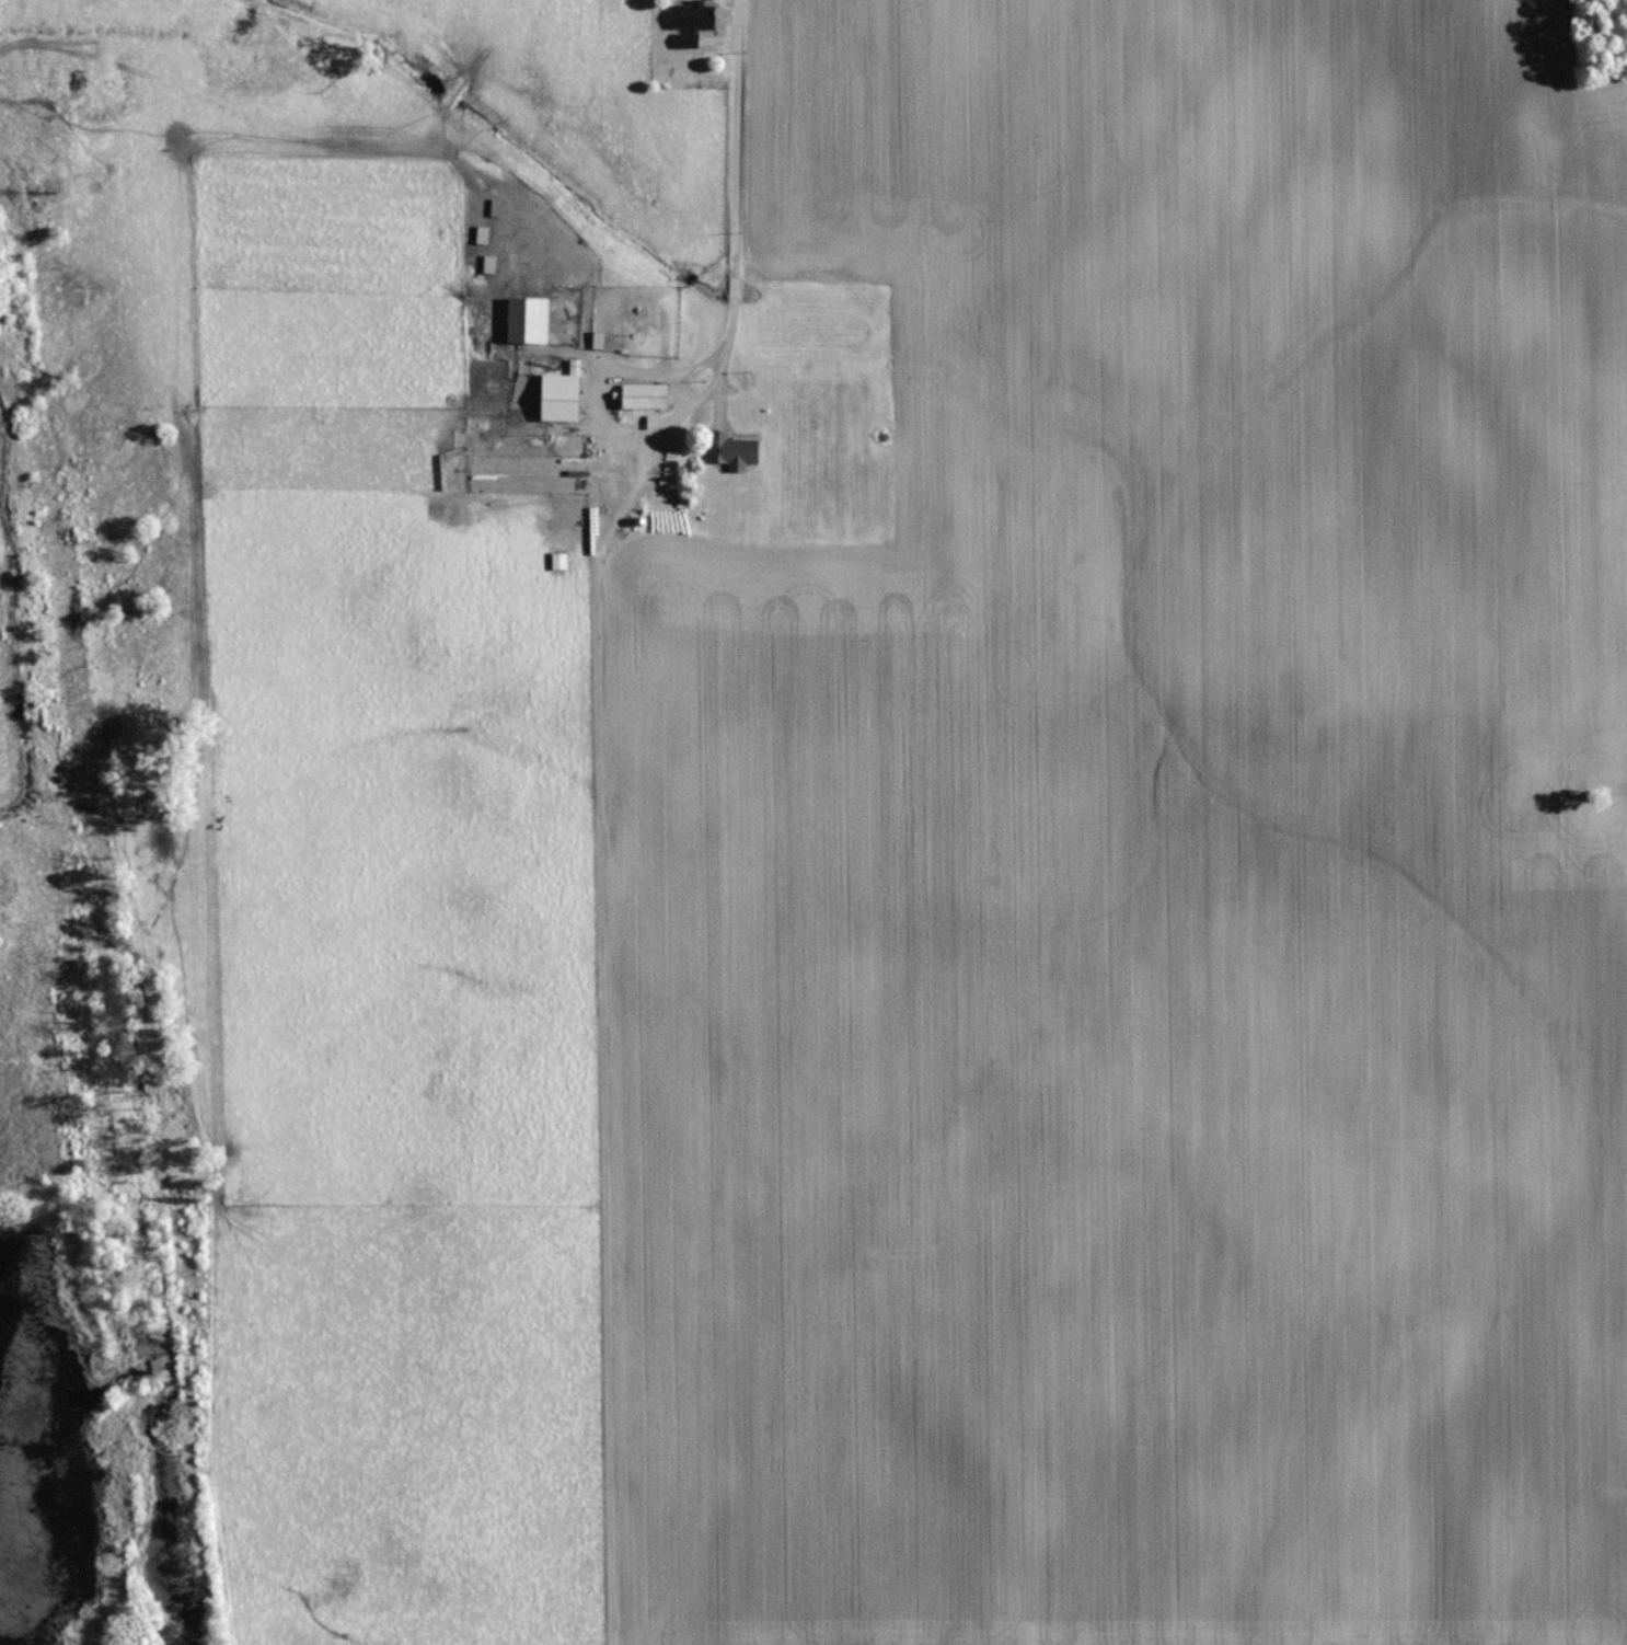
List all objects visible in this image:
building: (691, 21)
building: (639, 311)
building: (527, 319)
road: (718, 368)
building: (643, 395)
building: (558, 396)
building: (729, 448)

